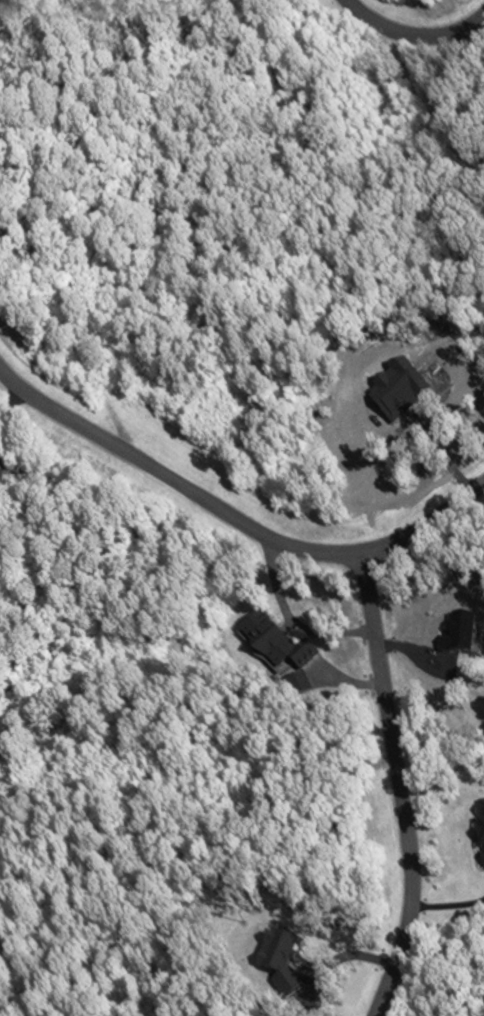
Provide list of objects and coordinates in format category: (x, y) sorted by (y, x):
road: (412, 34)
road: (6, 394)
road: (232, 520)
road: (289, 618)
building: (272, 646)
road: (400, 787)
building: (479, 835)

